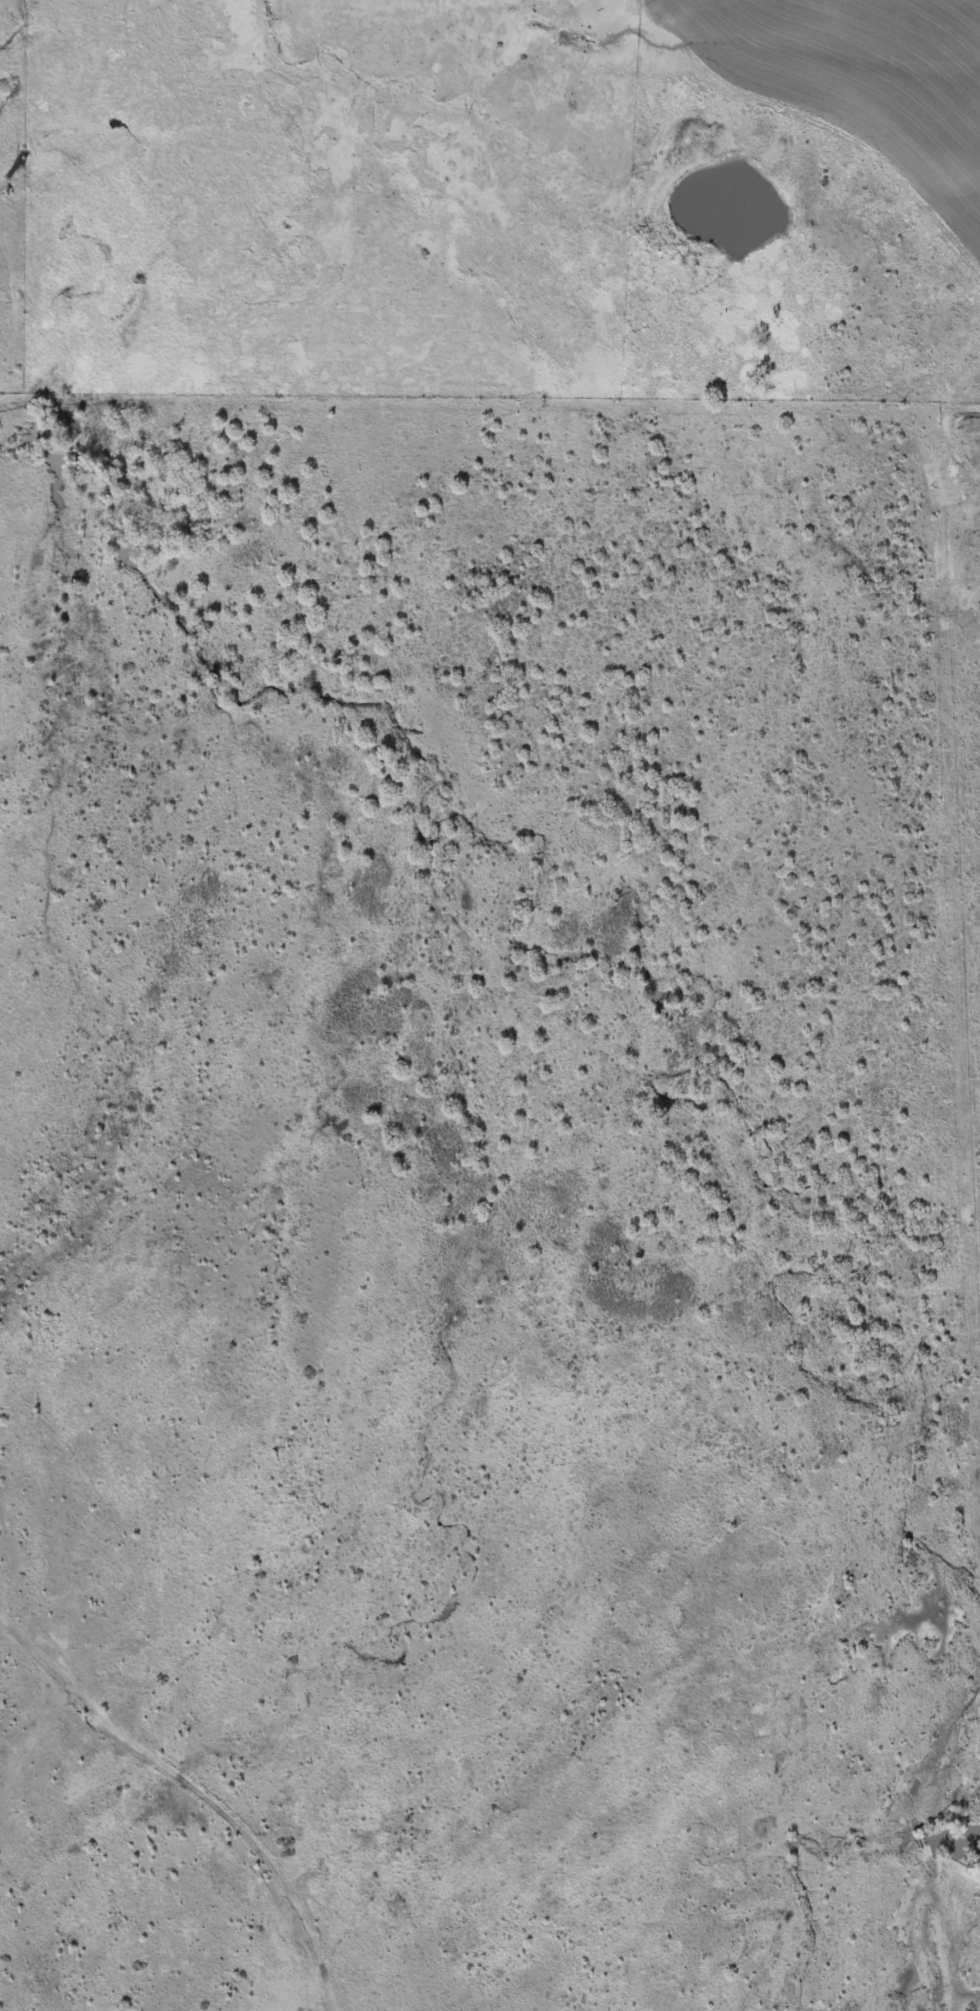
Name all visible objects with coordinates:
road: (219, 1808)

